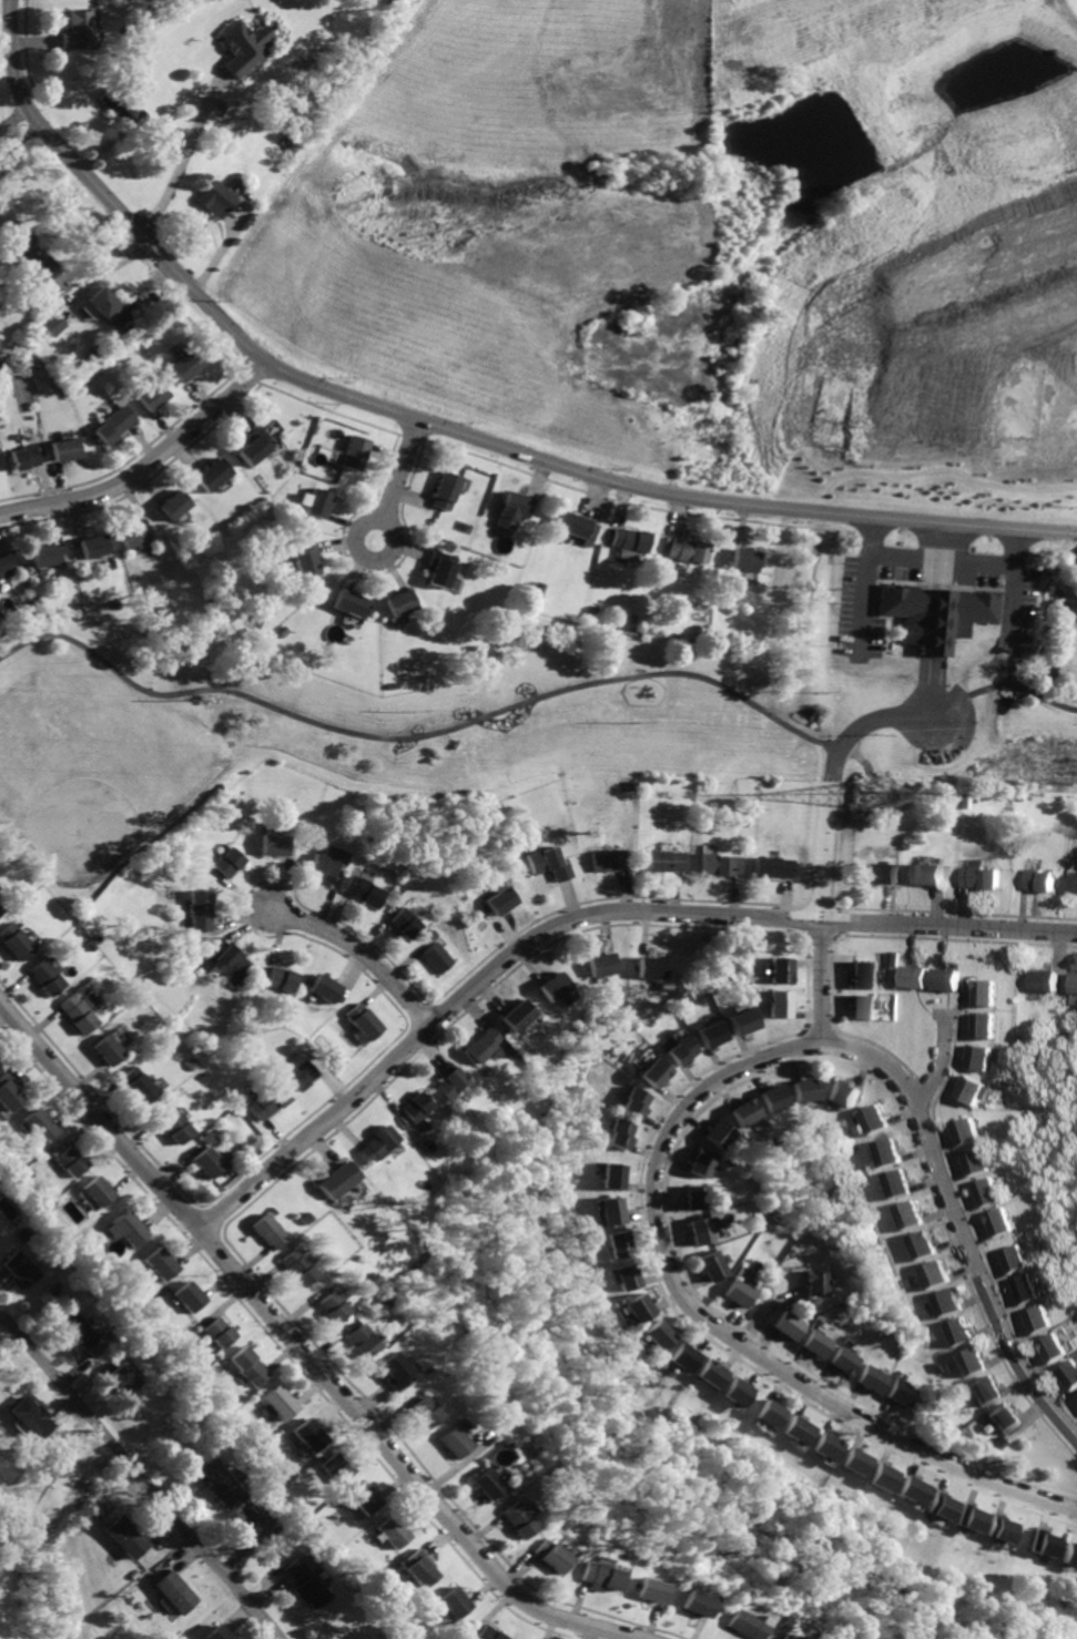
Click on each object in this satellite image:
building: (78, 30)
road: (37, 40)
building: (245, 49)
building: (121, 104)
road: (13, 119)
road: (21, 145)
road: (105, 146)
road: (183, 152)
road: (435, 195)
building: (214, 196)
road: (231, 235)
building: (27, 247)
road: (90, 263)
road: (101, 275)
road: (517, 287)
building: (110, 308)
building: (53, 325)
building: (187, 364)
building: (153, 396)
building: (1018, 413)
building: (116, 425)
road: (440, 427)
building: (255, 445)
building: (69, 449)
building: (354, 451)
building: (26, 456)
road: (146, 467)
road: (949, 468)
building: (215, 474)
building: (446, 489)
building: (319, 502)
building: (179, 503)
building: (510, 509)
road: (375, 519)
building: (577, 527)
building: (135, 533)
road: (871, 535)
building: (629, 540)
building: (96, 546)
road: (1017, 546)
building: (690, 550)
road: (943, 553)
building: (45, 554)
road: (943, 557)
building: (307, 558)
building: (746, 559)
building: (4, 566)
building: (443, 567)
flagpole: (939, 583)
building: (537, 589)
building: (892, 598)
road: (1014, 600)
building: (403, 601)
building: (352, 602)
road: (865, 605)
building: (947, 614)
road: (1026, 686)
road: (936, 688)
road: (975, 696)
park: (450, 724)
road: (420, 739)
park: (88, 780)
power tower: (877, 792)
building: (276, 844)
road: (831, 845)
building: (611, 858)
building: (667, 858)
building: (227, 861)
building: (550, 862)
building: (724, 863)
building: (327, 866)
building: (776, 866)
building: (881, 872)
building: (928, 872)
building: (983, 876)
building: (1039, 879)
building: (1074, 882)
building: (367, 889)
building: (502, 899)
building: (1, 908)
building: (200, 908)
road: (581, 919)
building: (409, 922)
building: (16, 940)
road: (364, 951)
building: (440, 957)
building: (891, 958)
building: (230, 963)
building: (604, 964)
building: (659, 966)
building: (782, 968)
building: (865, 973)
building: (915, 975)
building: (48, 976)
building: (280, 977)
building: (948, 977)
building: (1046, 979)
building: (1075, 980)
building: (557, 985)
building: (325, 987)
building: (989, 991)
building: (782, 1001)
building: (864, 1005)
building: (80, 1010)
building: (520, 1014)
building: (363, 1020)
building: (746, 1020)
building: (987, 1024)
building: (715, 1032)
building: (486, 1042)
building: (109, 1048)
building: (685, 1048)
building: (983, 1057)
road: (939, 1065)
building: (658, 1072)
building: (297, 1075)
building: (449, 1083)
building: (140, 1086)
building: (807, 1089)
building: (972, 1089)
building: (9, 1091)
building: (842, 1092)
building: (775, 1097)
building: (267, 1100)
building: (638, 1101)
building: (415, 1106)
building: (746, 1110)
road: (682, 1112)
building: (873, 1119)
building: (42, 1124)
building: (176, 1127)
building: (966, 1131)
building: (622, 1132)
building: (721, 1133)
building: (207, 1136)
building: (370, 1143)
building: (886, 1152)
building: (71, 1158)
building: (977, 1161)
building: (206, 1162)
building: (703, 1162)
building: (614, 1175)
building: (331, 1179)
building: (896, 1183)
building: (99, 1189)
building: (986, 1192)
building: (698, 1195)
building: (613, 1210)
building: (906, 1214)
building: (998, 1223)
building: (130, 1226)
building: (266, 1230)
building: (702, 1230)
building: (620, 1244)
building: (918, 1244)
building: (1015, 1259)
building: (162, 1263)
building: (713, 1264)
building: (296, 1266)
building: (26, 1269)
building: (931, 1273)
building: (627, 1276)
building: (820, 1282)
building: (1027, 1290)
building: (740, 1293)
building: (192, 1296)
building: (944, 1303)
building: (331, 1305)
building: (641, 1307)
road: (773, 1311)
building: (1042, 1319)
building: (791, 1324)
building: (80, 1326)
building: (220, 1331)
building: (955, 1331)
building: (660, 1335)
building: (359, 1340)
building: (821, 1343)
road: (298, 1346)
building: (99, 1347)
building: (1057, 1347)
building: (684, 1356)
building: (847, 1358)
building: (968, 1361)
building: (250, 1364)
building: (392, 1370)
building: (1070, 1372)
building: (713, 1373)
building: (128, 1376)
building: (875, 1377)
building: (739, 1391)
building: (905, 1391)
building: (985, 1391)
building: (282, 1401)
building: (421, 1411)
building: (772, 1413)
building: (34, 1417)
building: (1006, 1417)
building: (800, 1429)
building: (309, 1434)
building: (450, 1441)
building: (1002, 1442)
building: (830, 1446)
building: (857, 1459)
building: (337, 1464)
road: (141, 1474)
building: (886, 1476)
building: (222, 1483)
building: (482, 1484)
building: (917, 1488)
building: (365, 1497)
building: (944, 1505)
building: (973, 1517)
building: (516, 1519)
building: (266, 1520)
building: (1003, 1528)
building: (395, 1530)
building: (130, 1536)
building: (1045, 1541)
building: (1070, 1554)
building: (549, 1555)
building: (420, 1568)
building: (598, 1575)
building: (307, 1582)
building: (648, 1589)
building: (176, 1590)
building: (692, 1601)
building: (456, 1602)
building: (740, 1625)
building: (221, 1632)
building: (487, 1633)
building: (779, 1637)

